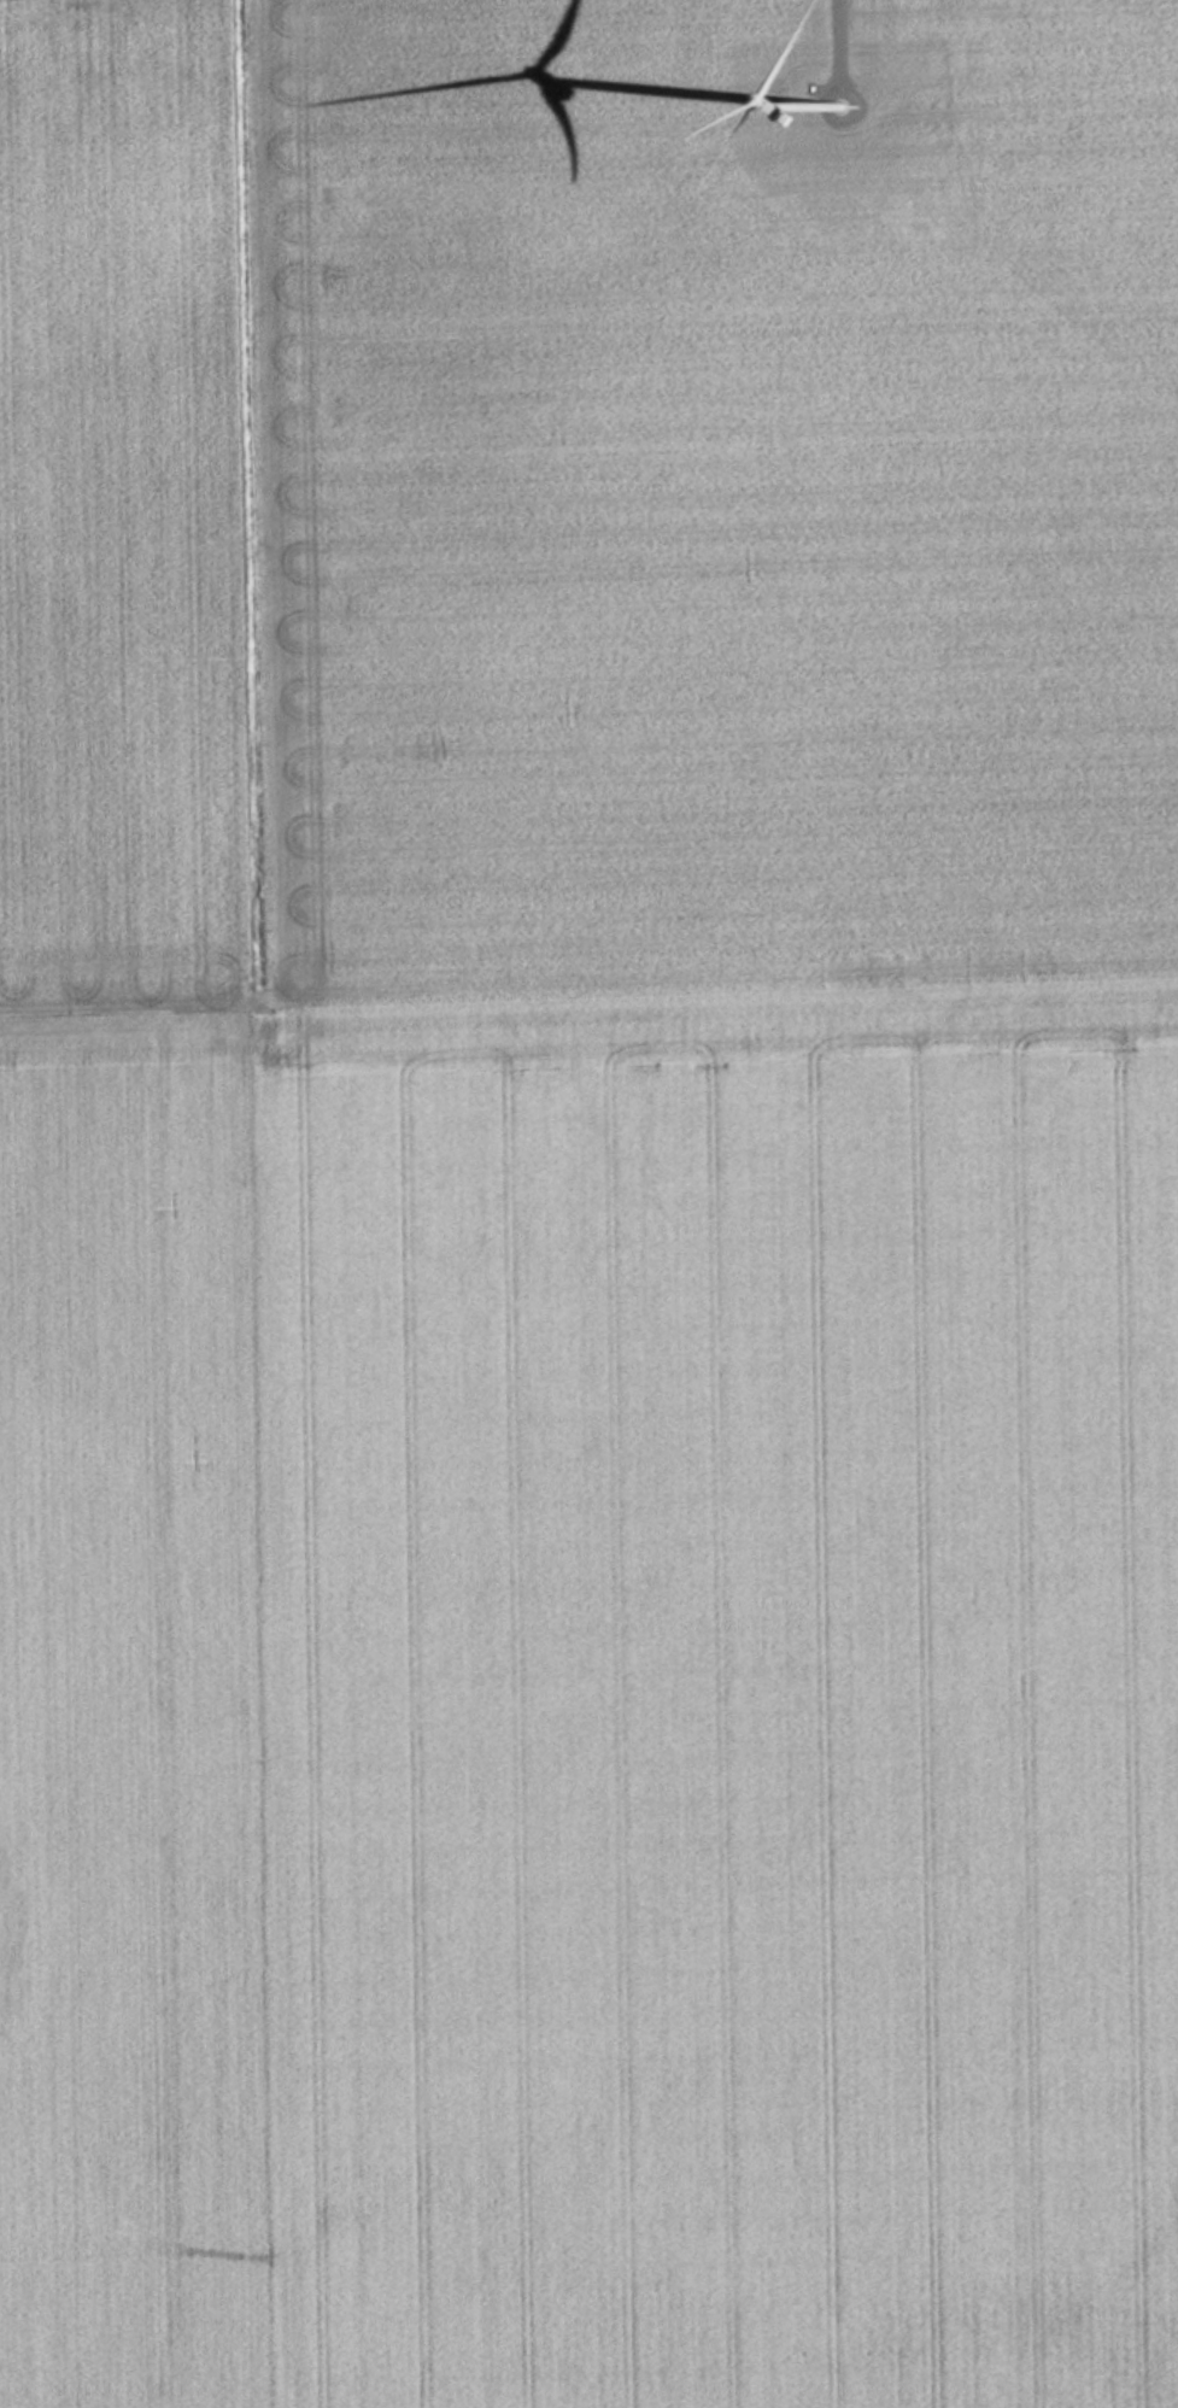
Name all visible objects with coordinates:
wind turbine: (840, 99)

